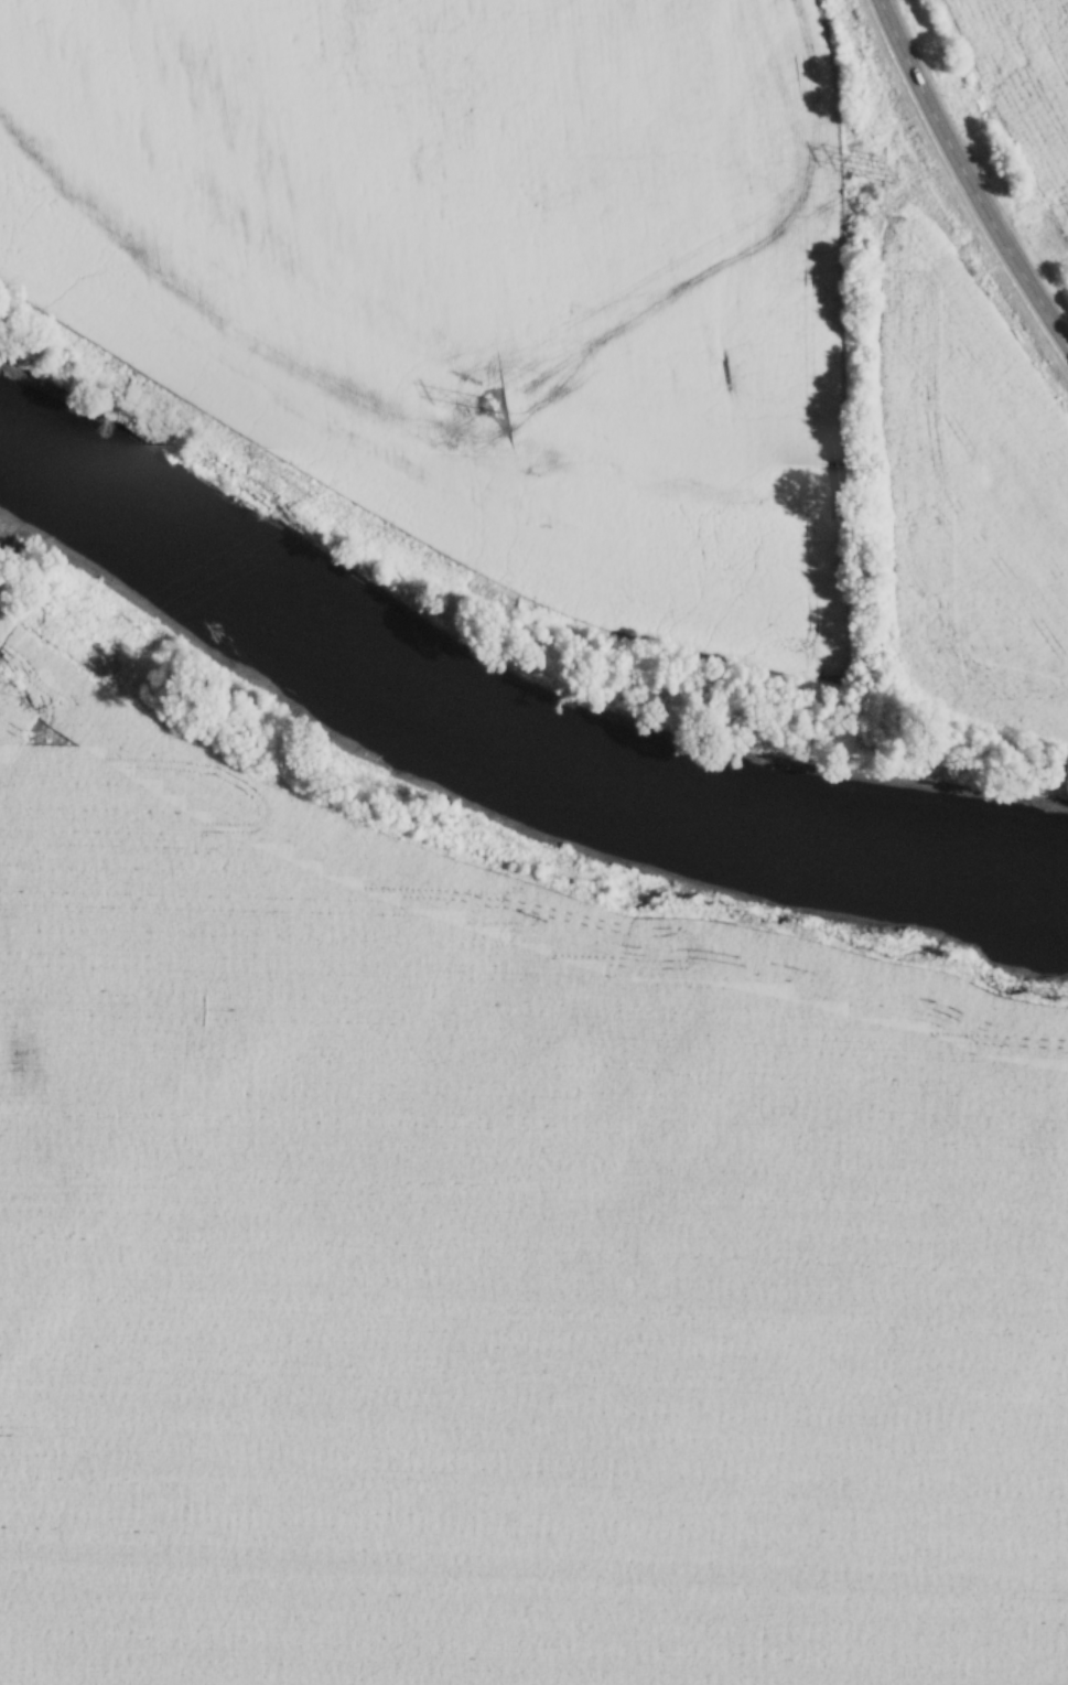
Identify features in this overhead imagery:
power tower: (886, 162)
road: (964, 173)
power tower: (483, 400)
power tower: (85, 644)
river: (495, 754)

